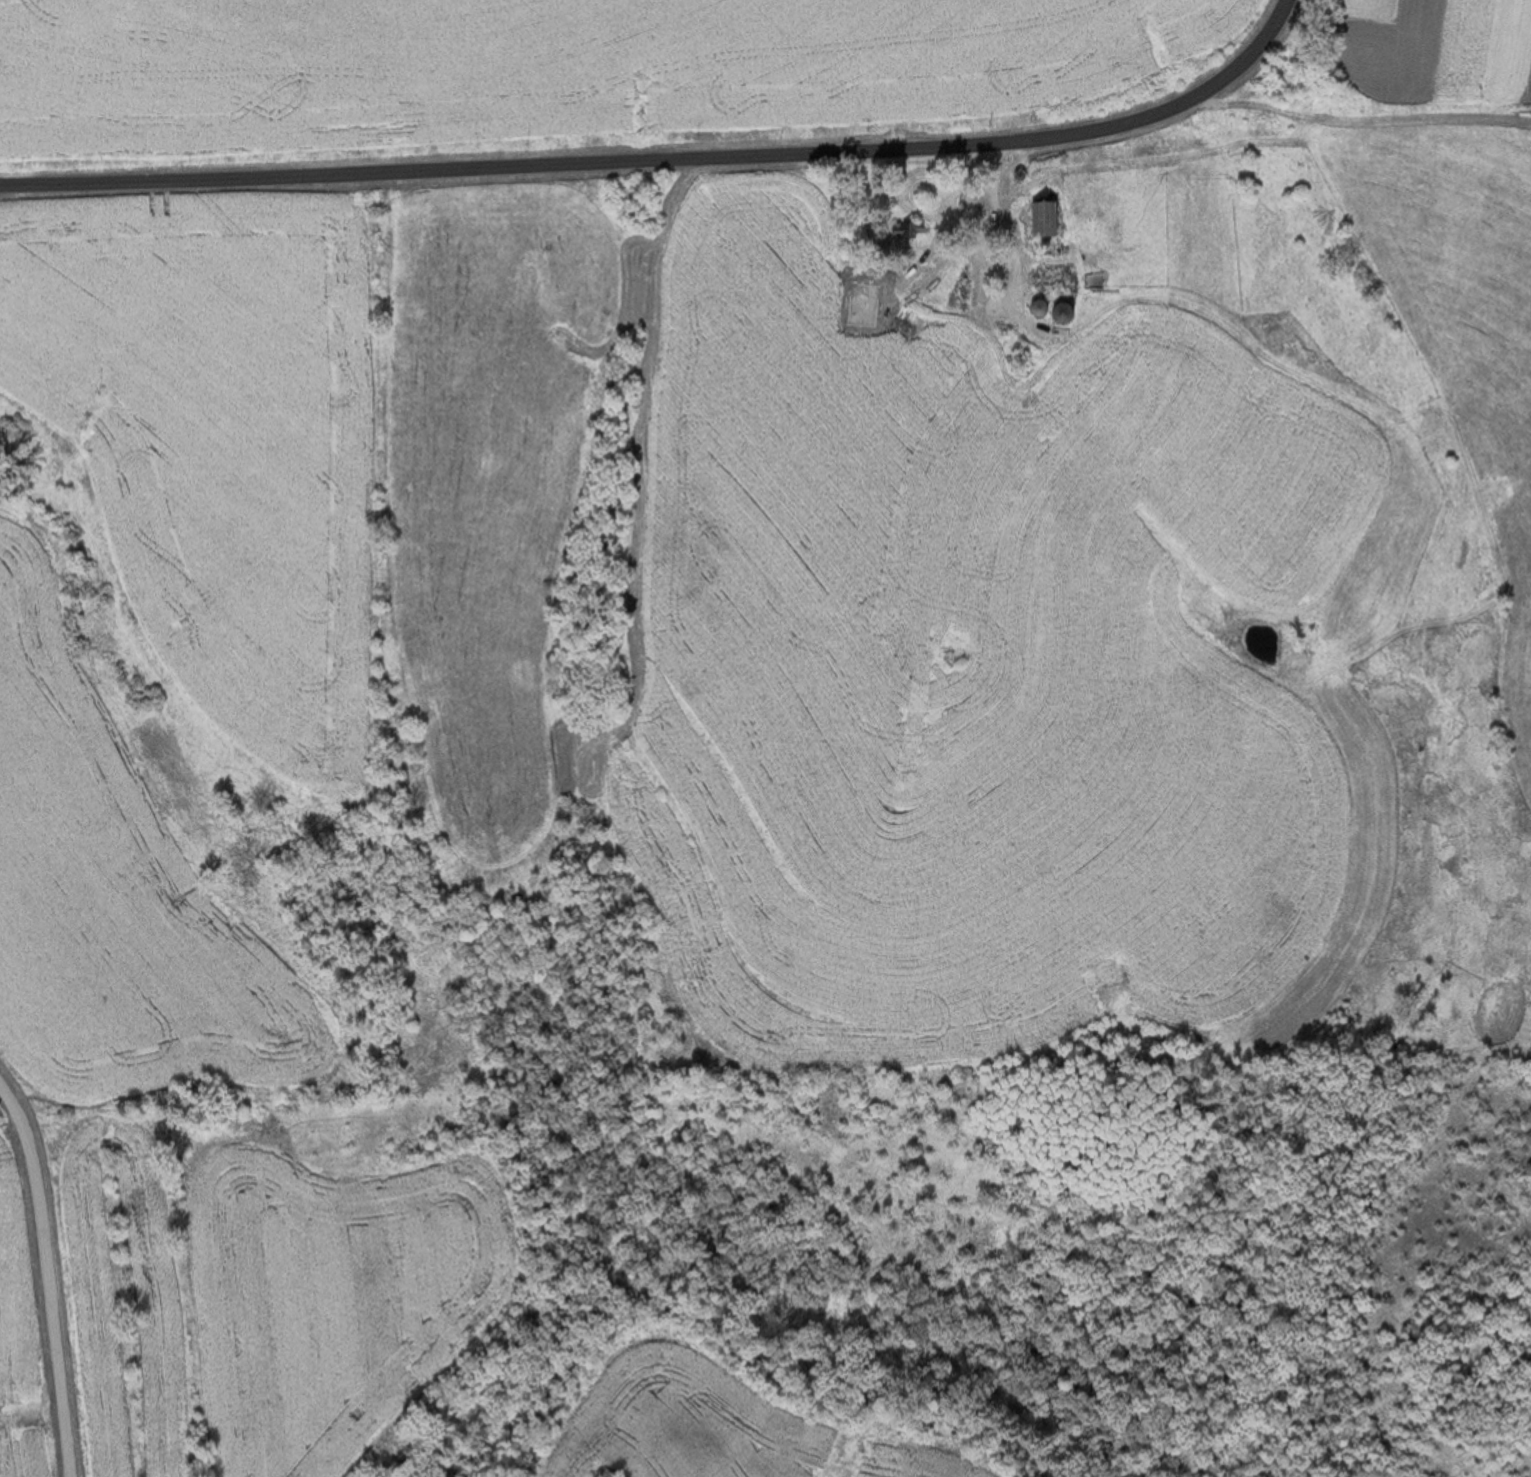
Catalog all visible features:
road: (669, 158)
building: (1036, 221)
building: (904, 235)
building: (1047, 280)
road: (46, 1277)

